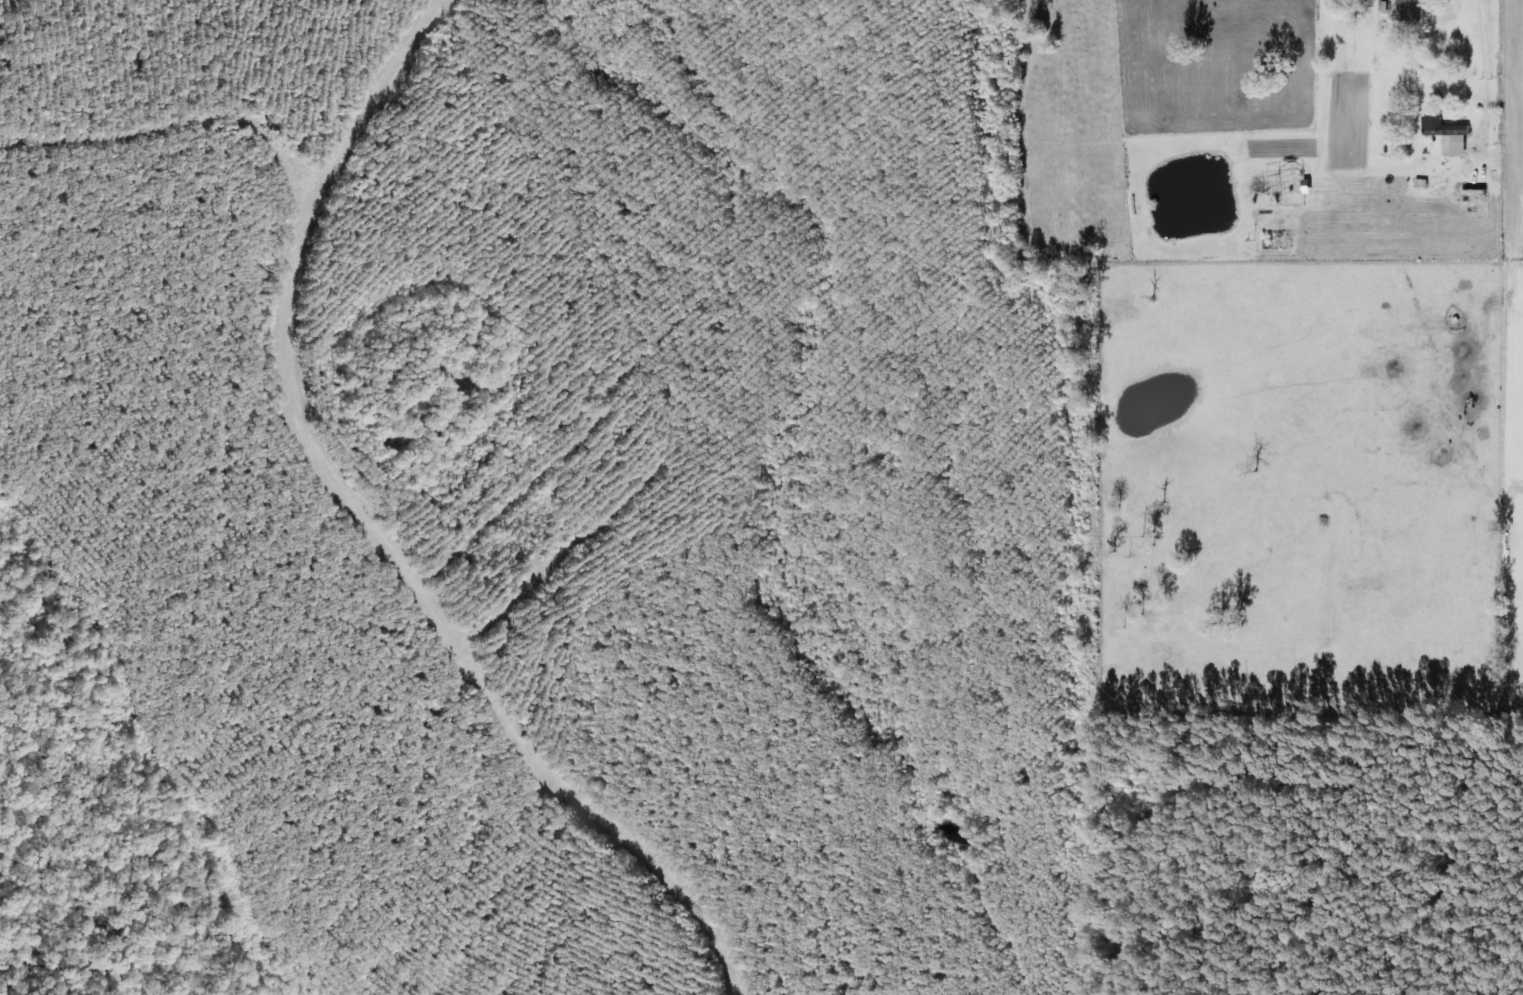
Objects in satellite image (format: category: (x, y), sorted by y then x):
road: (1203, 5)
building: (1411, 11)
road: (371, 24)
building: (1450, 134)

